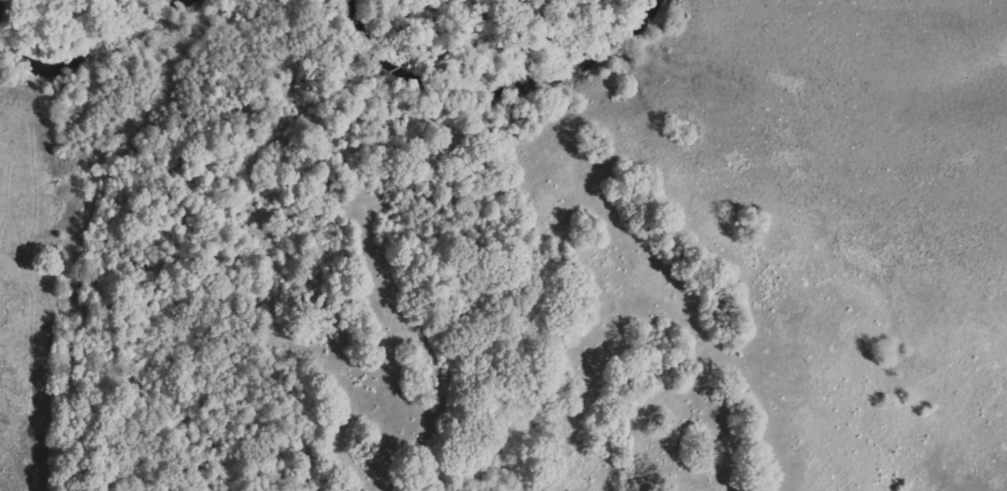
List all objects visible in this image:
river: (1, 9)
river: (95, 49)
river: (503, 84)

